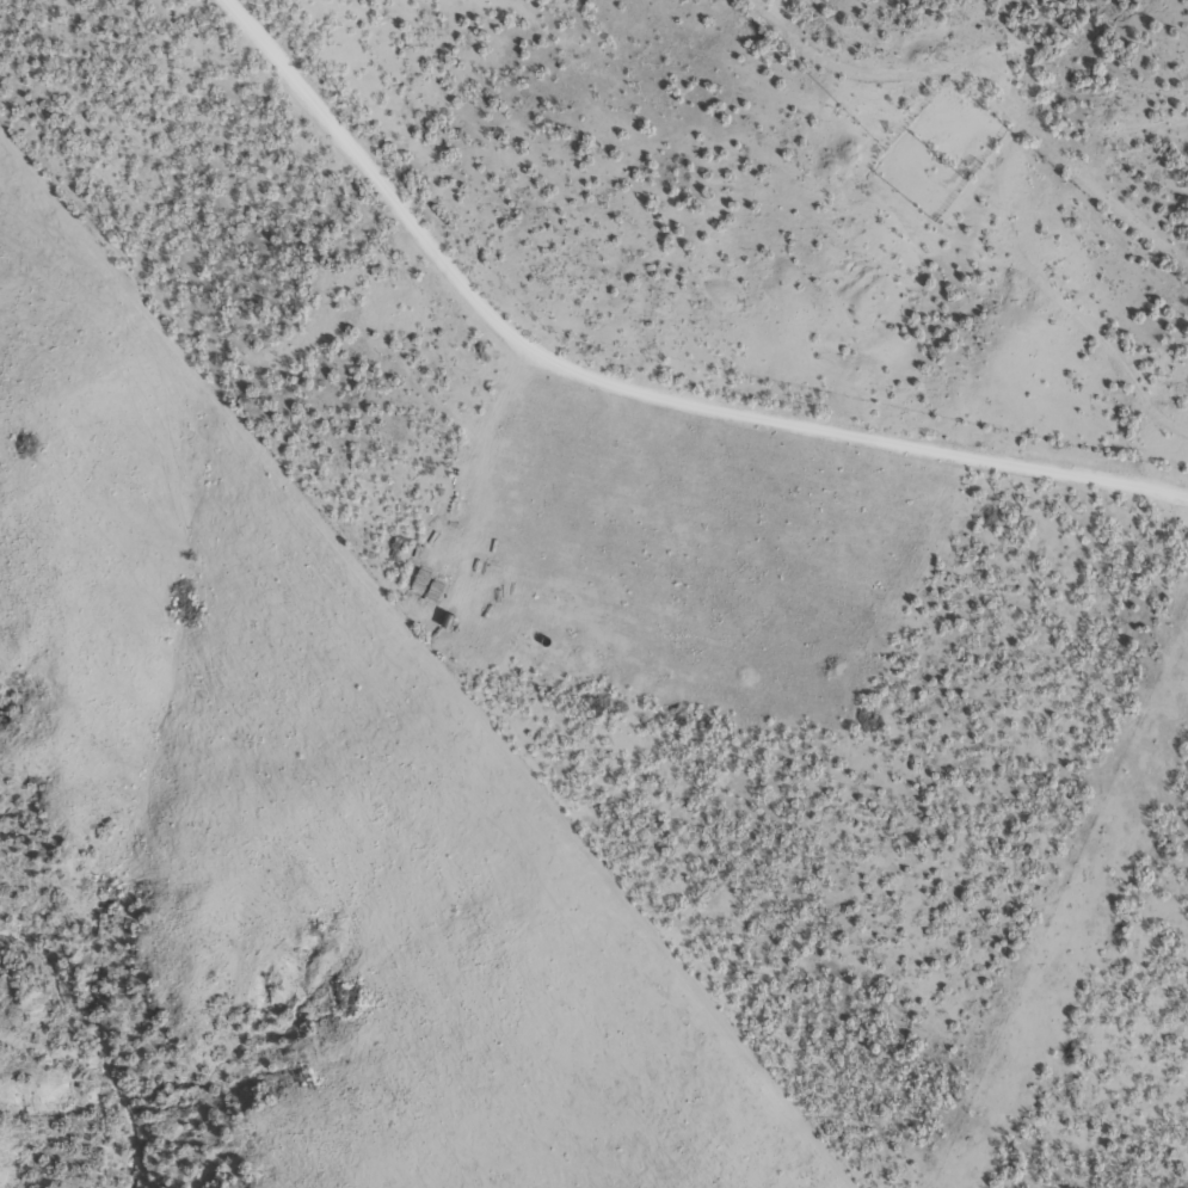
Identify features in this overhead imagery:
road: (634, 384)

